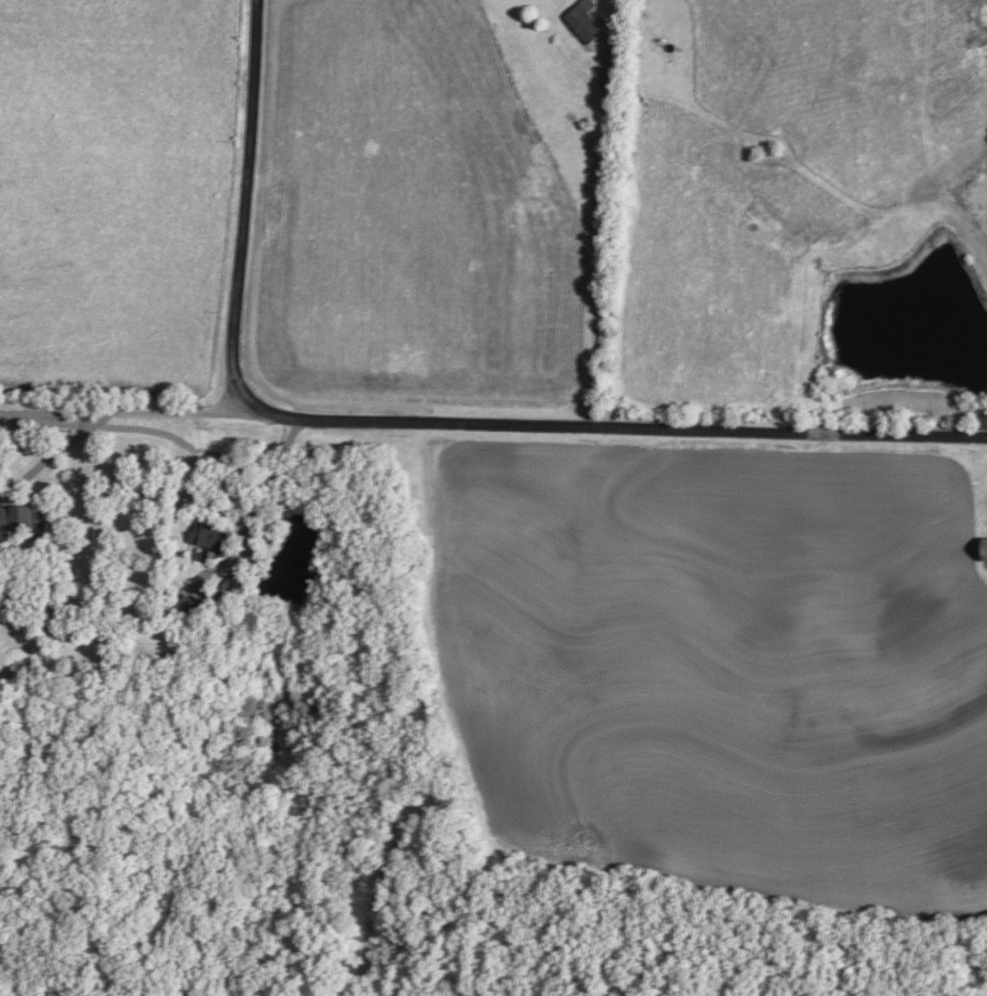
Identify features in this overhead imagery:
building: (582, 21)
road: (251, 198)
road: (599, 216)
road: (121, 413)
road: (611, 428)
road: (54, 457)
building: (15, 519)
building: (205, 536)
building: (983, 550)
building: (189, 607)

